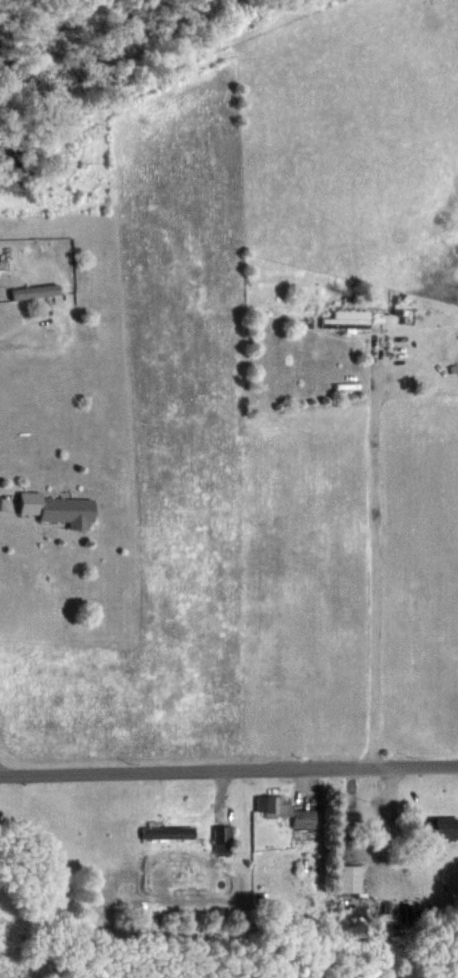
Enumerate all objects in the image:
building: (348, 317)
road: (15, 332)
building: (56, 508)
road: (376, 565)
road: (3, 770)
road: (228, 770)
building: (287, 810)
building: (437, 826)
building: (355, 880)

